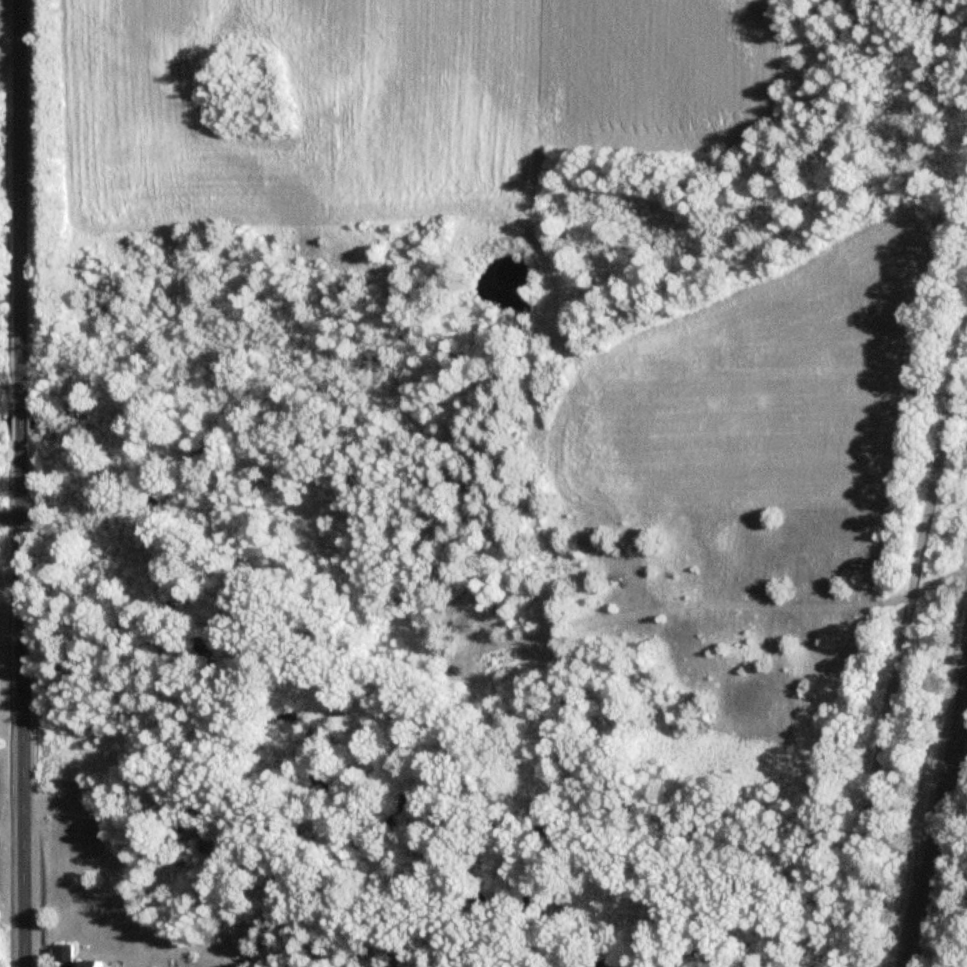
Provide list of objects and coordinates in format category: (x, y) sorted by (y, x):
road: (9, 483)
road: (5, 516)
road: (903, 636)
road: (938, 821)
building: (69, 953)
building: (98, 963)

